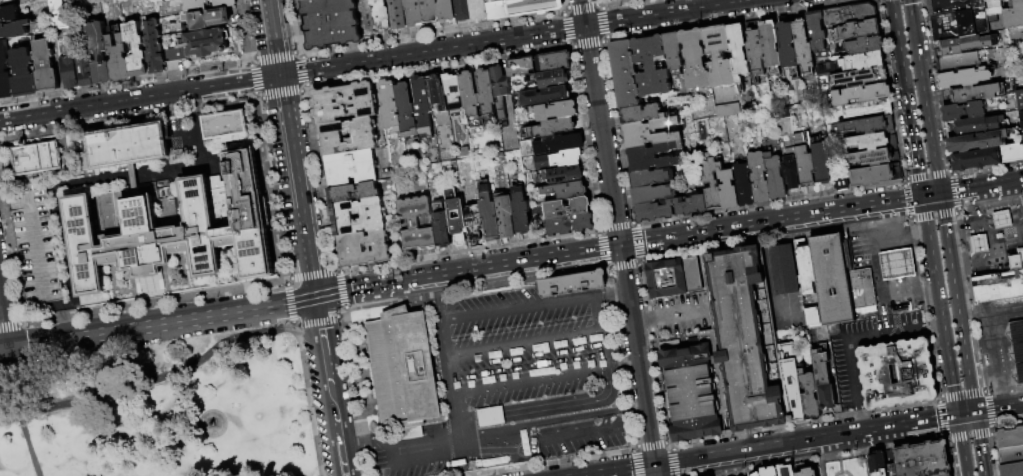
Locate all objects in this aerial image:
building: (5, 1)
road: (597, 1)
building: (606, 1)
road: (616, 2)
road: (599, 3)
building: (205, 4)
road: (563, 4)
road: (580, 5)
building: (951, 5)
building: (991, 6)
building: (517, 7)
road: (562, 9)
building: (444, 10)
building: (461, 10)
building: (476, 10)
building: (429, 12)
building: (413, 13)
building: (846, 13)
building: (9, 14)
building: (57, 14)
building: (396, 15)
building: (1013, 15)
building: (207, 17)
building: (380, 17)
road: (727, 19)
building: (328, 22)
road: (603, 22)
building: (957, 23)
road: (293, 25)
building: (854, 28)
road: (246, 29)
road: (563, 29)
building: (15, 30)
building: (817, 31)
road: (431, 32)
road: (273, 37)
road: (512, 38)
road: (604, 39)
building: (16, 42)
building: (964, 42)
building: (860, 43)
building: (196, 44)
road: (587, 44)
building: (771, 44)
building: (153, 45)
road: (571, 46)
building: (788, 46)
building: (134, 47)
building: (804, 48)
building: (97, 50)
road: (298, 51)
building: (756, 52)
building: (674, 53)
building: (739, 53)
road: (274, 54)
building: (117, 56)
building: (720, 57)
road: (250, 59)
building: (696, 59)
building: (551, 60)
building: (858, 60)
building: (955, 60)
building: (519, 65)
building: (44, 66)
road: (432, 67)
building: (652, 67)
building: (83, 68)
building: (68, 70)
road: (302, 70)
building: (22, 71)
building: (625, 73)
building: (5, 74)
traffic signals: (279, 75)
building: (857, 76)
building: (550, 77)
building: (960, 77)
road: (251, 79)
road: (124, 80)
building: (498, 81)
road: (936, 85)
road: (305, 86)
building: (449, 87)
road: (889, 89)
building: (435, 92)
building: (484, 92)
building: (972, 92)
building: (857, 93)
road: (280, 94)
building: (542, 94)
building: (468, 96)
road: (139, 97)
road: (923, 97)
road: (256, 98)
building: (1019, 99)
building: (342, 102)
building: (388, 105)
building: (421, 105)
building: (553, 109)
building: (726, 109)
building: (861, 109)
building: (964, 109)
building: (405, 110)
building: (643, 114)
road: (127, 116)
building: (1021, 123)
building: (864, 124)
building: (226, 125)
building: (970, 125)
building: (551, 127)
road: (618, 131)
building: (651, 133)
road: (582, 135)
building: (346, 136)
building: (867, 140)
building: (975, 140)
building: (557, 143)
building: (124, 147)
building: (1010, 151)
building: (868, 156)
building: (973, 157)
building: (37, 158)
building: (556, 158)
building: (656, 158)
building: (805, 161)
building: (823, 165)
building: (348, 167)
road: (988, 167)
road: (951, 171)
building: (791, 172)
building: (871, 173)
building: (559, 174)
road: (928, 174)
building: (760, 177)
building: (776, 177)
building: (653, 178)
road: (904, 178)
road: (318, 180)
road: (902, 181)
road: (1013, 182)
building: (840, 184)
road: (90, 185)
building: (712, 185)
building: (745, 185)
road: (296, 186)
building: (728, 188)
road: (271, 189)
building: (561, 189)
road: (971, 189)
road: (954, 191)
building: (351, 192)
road: (1018, 193)
building: (654, 194)
traffic signals: (940, 194)
road: (931, 195)
traffic signals: (922, 197)
road: (14, 201)
road: (905, 201)
road: (771, 204)
road: (974, 204)
road: (989, 204)
building: (565, 206)
building: (671, 209)
building: (519, 210)
building: (248, 211)
road: (956, 211)
road: (1015, 211)
road: (1022, 211)
road: (942, 213)
building: (488, 214)
building: (503, 214)
road: (999, 214)
building: (356, 215)
building: (455, 215)
road: (799, 217)
road: (933, 217)
road: (869, 218)
road: (909, 218)
building: (1001, 219)
road: (1016, 219)
building: (472, 220)
road: (967, 220)
building: (415, 222)
building: (209, 223)
building: (568, 223)
road: (635, 223)
road: (1001, 223)
road: (989, 225)
building: (440, 226)
road: (616, 226)
road: (971, 226)
road: (979, 226)
road: (597, 230)
road: (803, 233)
road: (900, 235)
building: (998, 235)
road: (928, 237)
road: (987, 237)
road: (618, 238)
building: (120, 239)
road: (1006, 239)
road: (721, 240)
road: (647, 241)
road: (982, 242)
road: (638, 243)
building: (978, 243)
gas station: (978, 243)
road: (973, 244)
building: (34, 246)
traffic signals: (620, 246)
building: (361, 247)
road: (873, 247)
road: (37, 248)
road: (600, 249)
road: (467, 250)
road: (982, 253)
road: (977, 254)
road: (670, 256)
road: (980, 259)
road: (640, 260)
road: (9, 261)
road: (971, 261)
building: (1016, 261)
road: (640, 262)
building: (895, 263)
gas station: (895, 263)
road: (503, 264)
road: (638, 264)
road: (624, 265)
building: (803, 265)
road: (606, 266)
building: (782, 268)
road: (336, 269)
building: (691, 273)
road: (310, 274)
building: (665, 277)
building: (829, 277)
road: (701, 278)
road: (285, 279)
road: (514, 281)
building: (571, 283)
building: (997, 286)
road: (895, 287)
building: (859, 288)
road: (341, 289)
road: (351, 289)
road: (610, 294)
traffic signals: (315, 297)
parking lot: (489, 300)
road: (152, 301)
road: (971, 301)
road: (288, 303)
road: (415, 304)
road: (690, 304)
road: (924, 307)
road: (316, 309)
road: (517, 309)
road: (307, 311)
road: (681, 312)
road: (342, 313)
road: (992, 316)
road: (327, 318)
road: (643, 318)
road: (3, 323)
road: (308, 323)
road: (932, 323)
road: (8, 324)
road: (157, 325)
parking lot: (519, 326)
road: (429, 328)
road: (679, 330)
road: (600, 333)
building: (744, 336)
road: (849, 336)
road: (673, 337)
road: (523, 344)
road: (980, 347)
traffic signals: (8, 349)
building: (1016, 349)
road: (652, 354)
road: (965, 354)
road: (619, 356)
parking lot: (526, 362)
road: (447, 363)
road: (622, 366)
building: (401, 370)
building: (895, 373)
road: (984, 374)
parking lot: (846, 377)
road: (1000, 377)
building: (822, 379)
road: (529, 381)
road: (153, 382)
road: (1004, 388)
building: (692, 389)
building: (791, 389)
road: (986, 391)
parking lot: (530, 392)
road: (962, 393)
road: (353, 395)
building: (808, 395)
road: (939, 396)
road: (307, 398)
road: (330, 398)
road: (937, 399)
road: (569, 406)
park: (162, 410)
road: (989, 410)
road: (990, 411)
traffic signals: (975, 415)
building: (489, 416)
traffic signals: (958, 417)
road: (940, 418)
road: (489, 419)
road: (552, 419)
road: (859, 420)
road: (604, 421)
road: (467, 422)
road: (801, 422)
road: (439, 427)
road: (1008, 427)
road: (21, 428)
road: (891, 428)
road: (608, 430)
road: (992, 430)
road: (411, 431)
road: (393, 434)
road: (776, 435)
road: (567, 436)
road: (968, 436)
road: (945, 437)
road: (361, 438)
building: (1010, 439)
road: (749, 440)
road: (651, 444)
road: (634, 445)
road: (668, 445)
road: (499, 446)
road: (740, 452)
road: (994, 454)
road: (450, 456)
road: (824, 456)
building: (1011, 456)
road: (949, 457)
building: (921, 459)
road: (411, 460)
road: (549, 461)
road: (673, 462)
building: (875, 463)
road: (634, 464)
road: (377, 465)
traffic signals: (655, 466)
road: (624, 470)
building: (786, 470)
building: (1013, 470)
building: (771, 472)
building: (809, 472)
building: (758, 474)
building: (944, 475)

